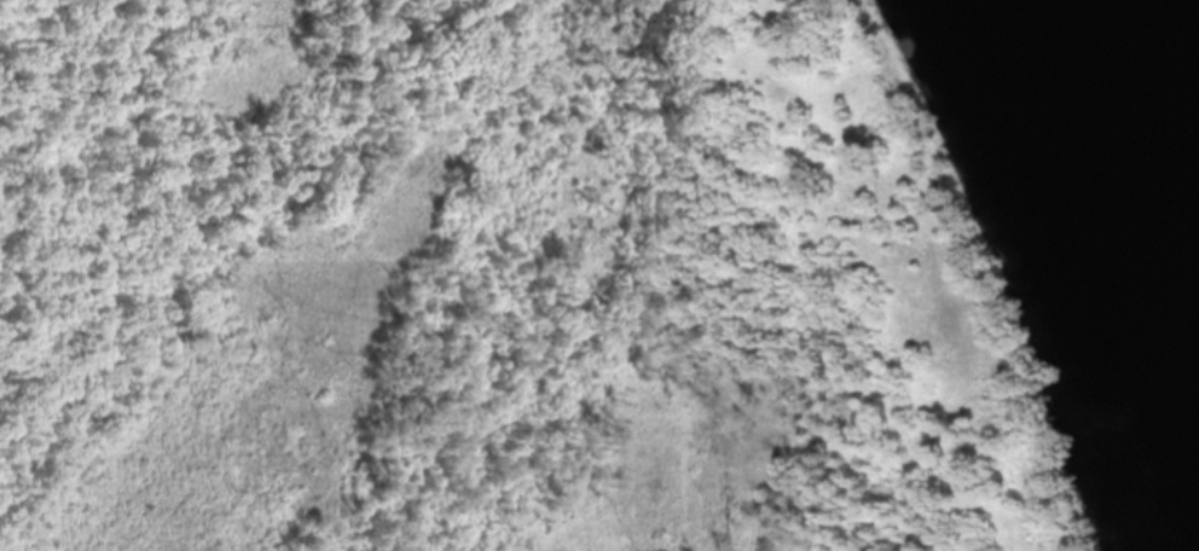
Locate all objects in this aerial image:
river: (1165, 65)
park: (596, 277)

